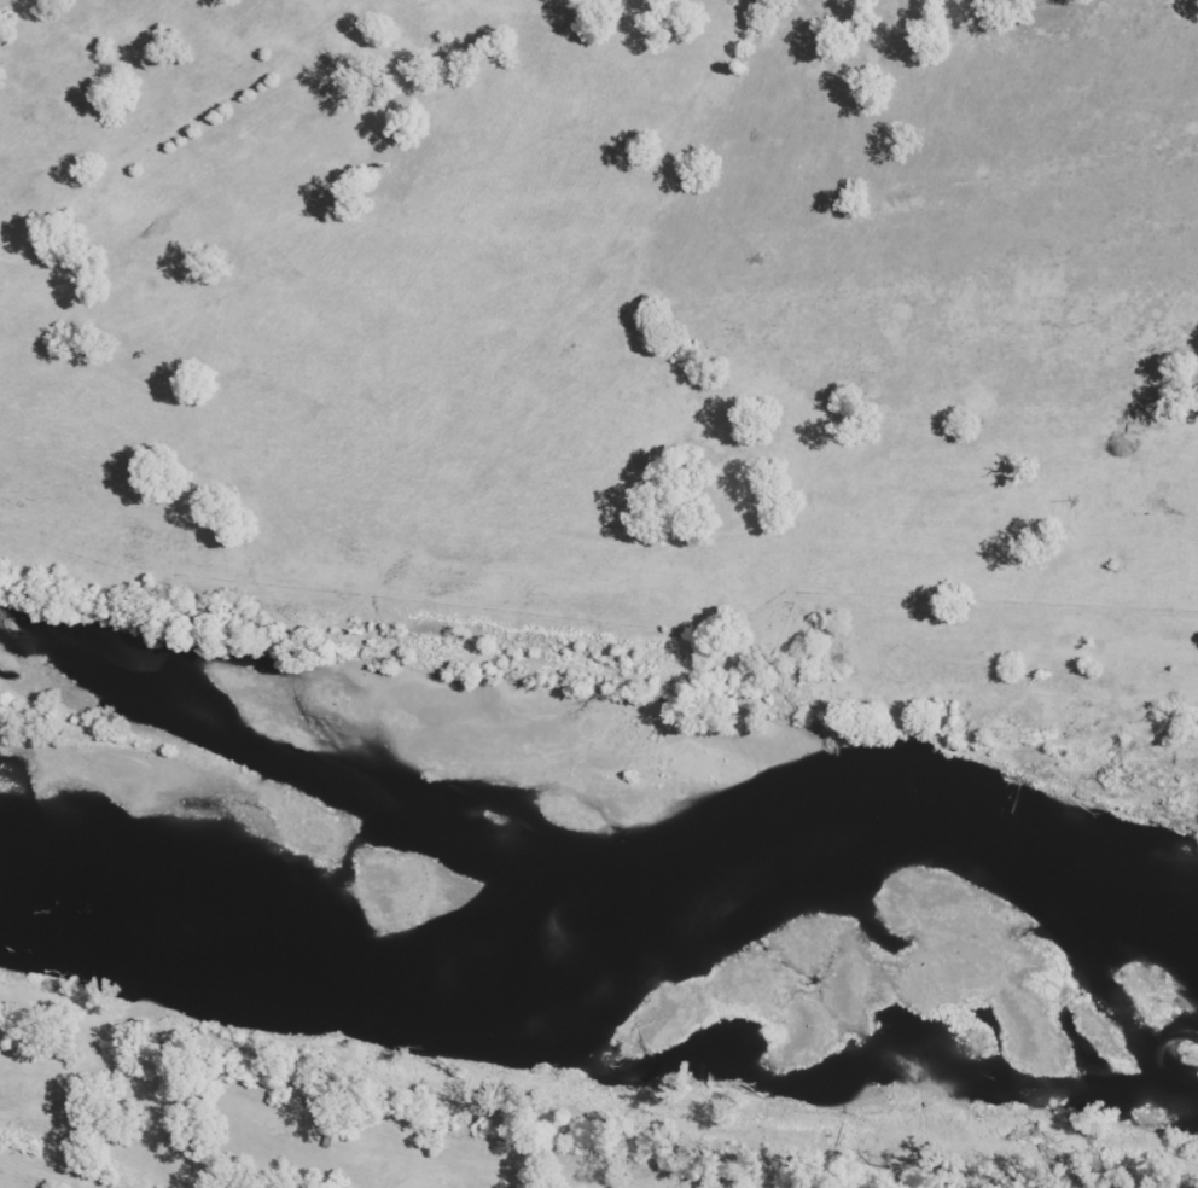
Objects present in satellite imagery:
river: (607, 857)

